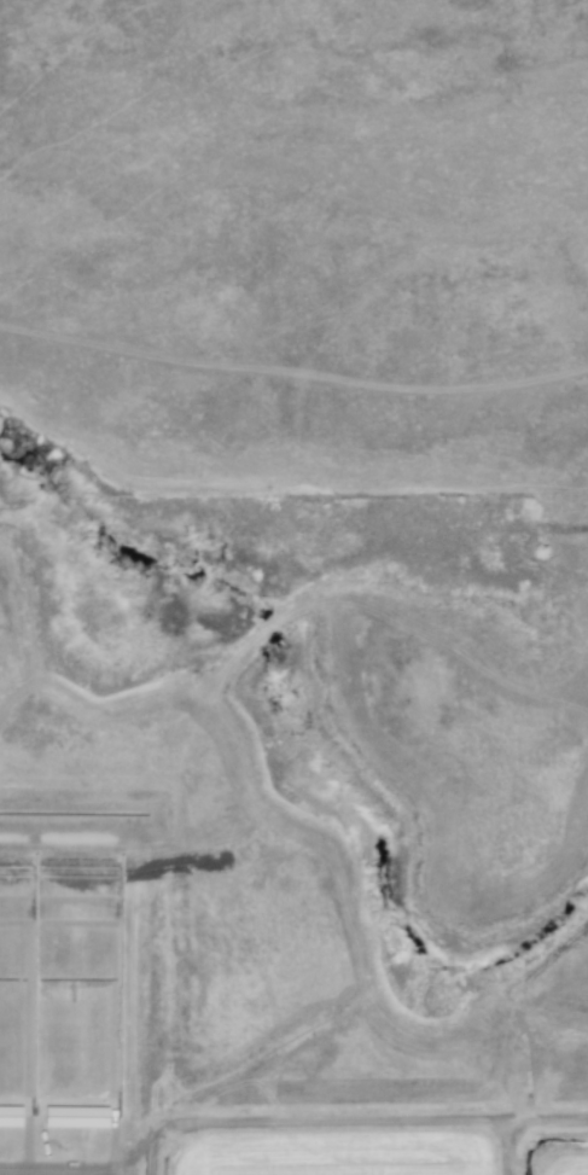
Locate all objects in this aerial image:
road: (69, 849)
road: (152, 1013)
building: (75, 1115)
road: (369, 1122)
road: (510, 1147)
road: (126, 1157)

